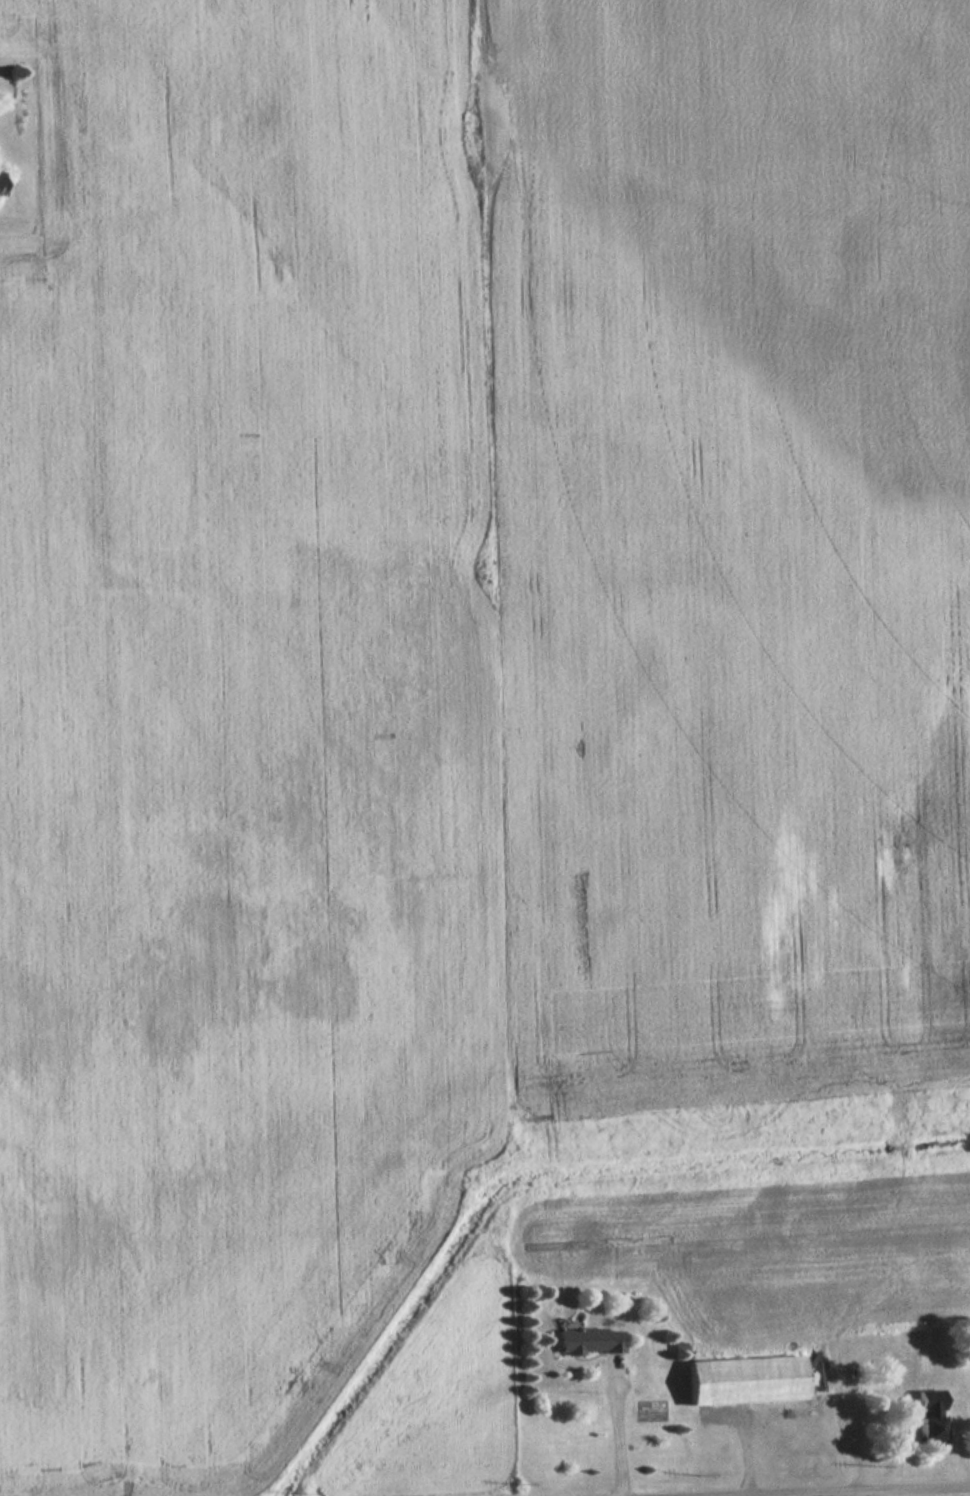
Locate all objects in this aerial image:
building: (2, 185)
building: (591, 1341)
building: (883, 1372)
building: (747, 1381)
building: (930, 1418)
road: (624, 1430)
road: (881, 1491)
road: (877, 1494)

